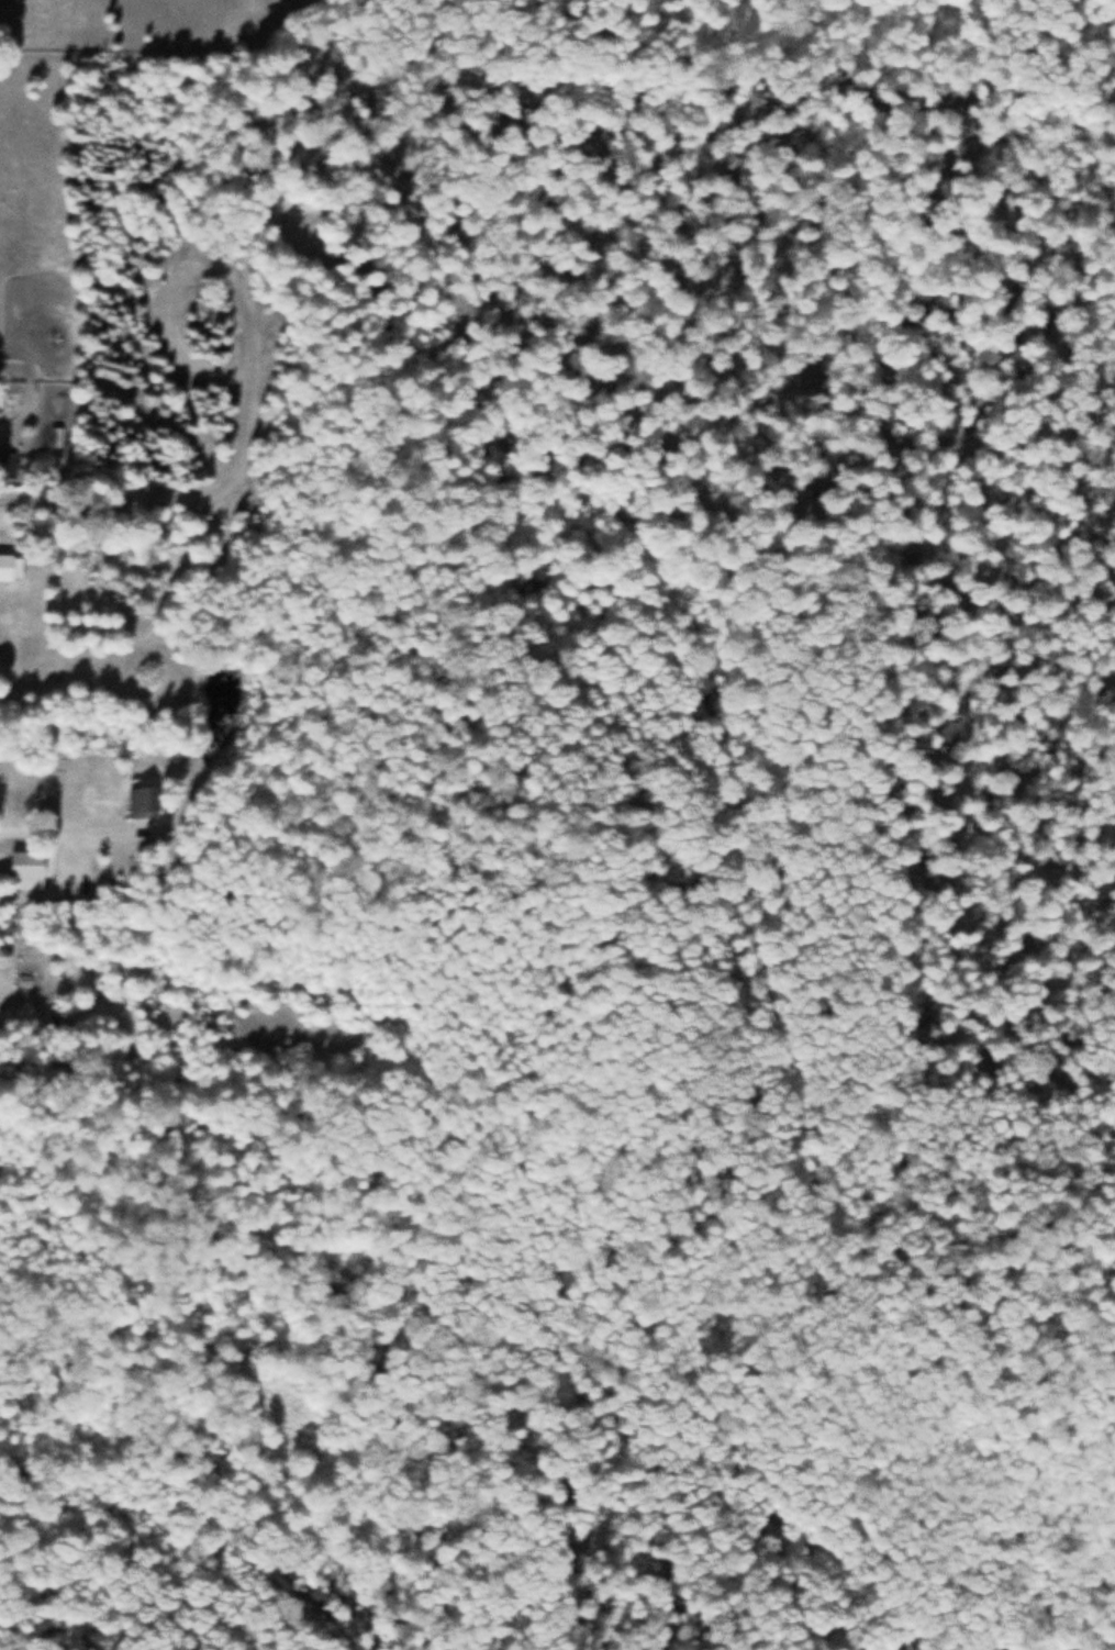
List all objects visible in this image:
park: (174, 26)
building: (8, 466)
building: (12, 567)
building: (143, 799)

